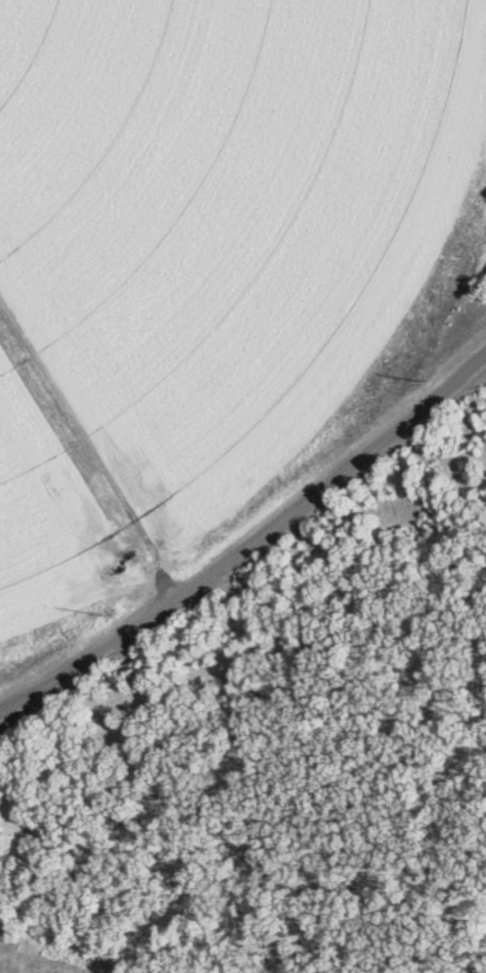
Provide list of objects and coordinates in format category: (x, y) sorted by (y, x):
wastewater plant: (243, 486)
road: (249, 539)

